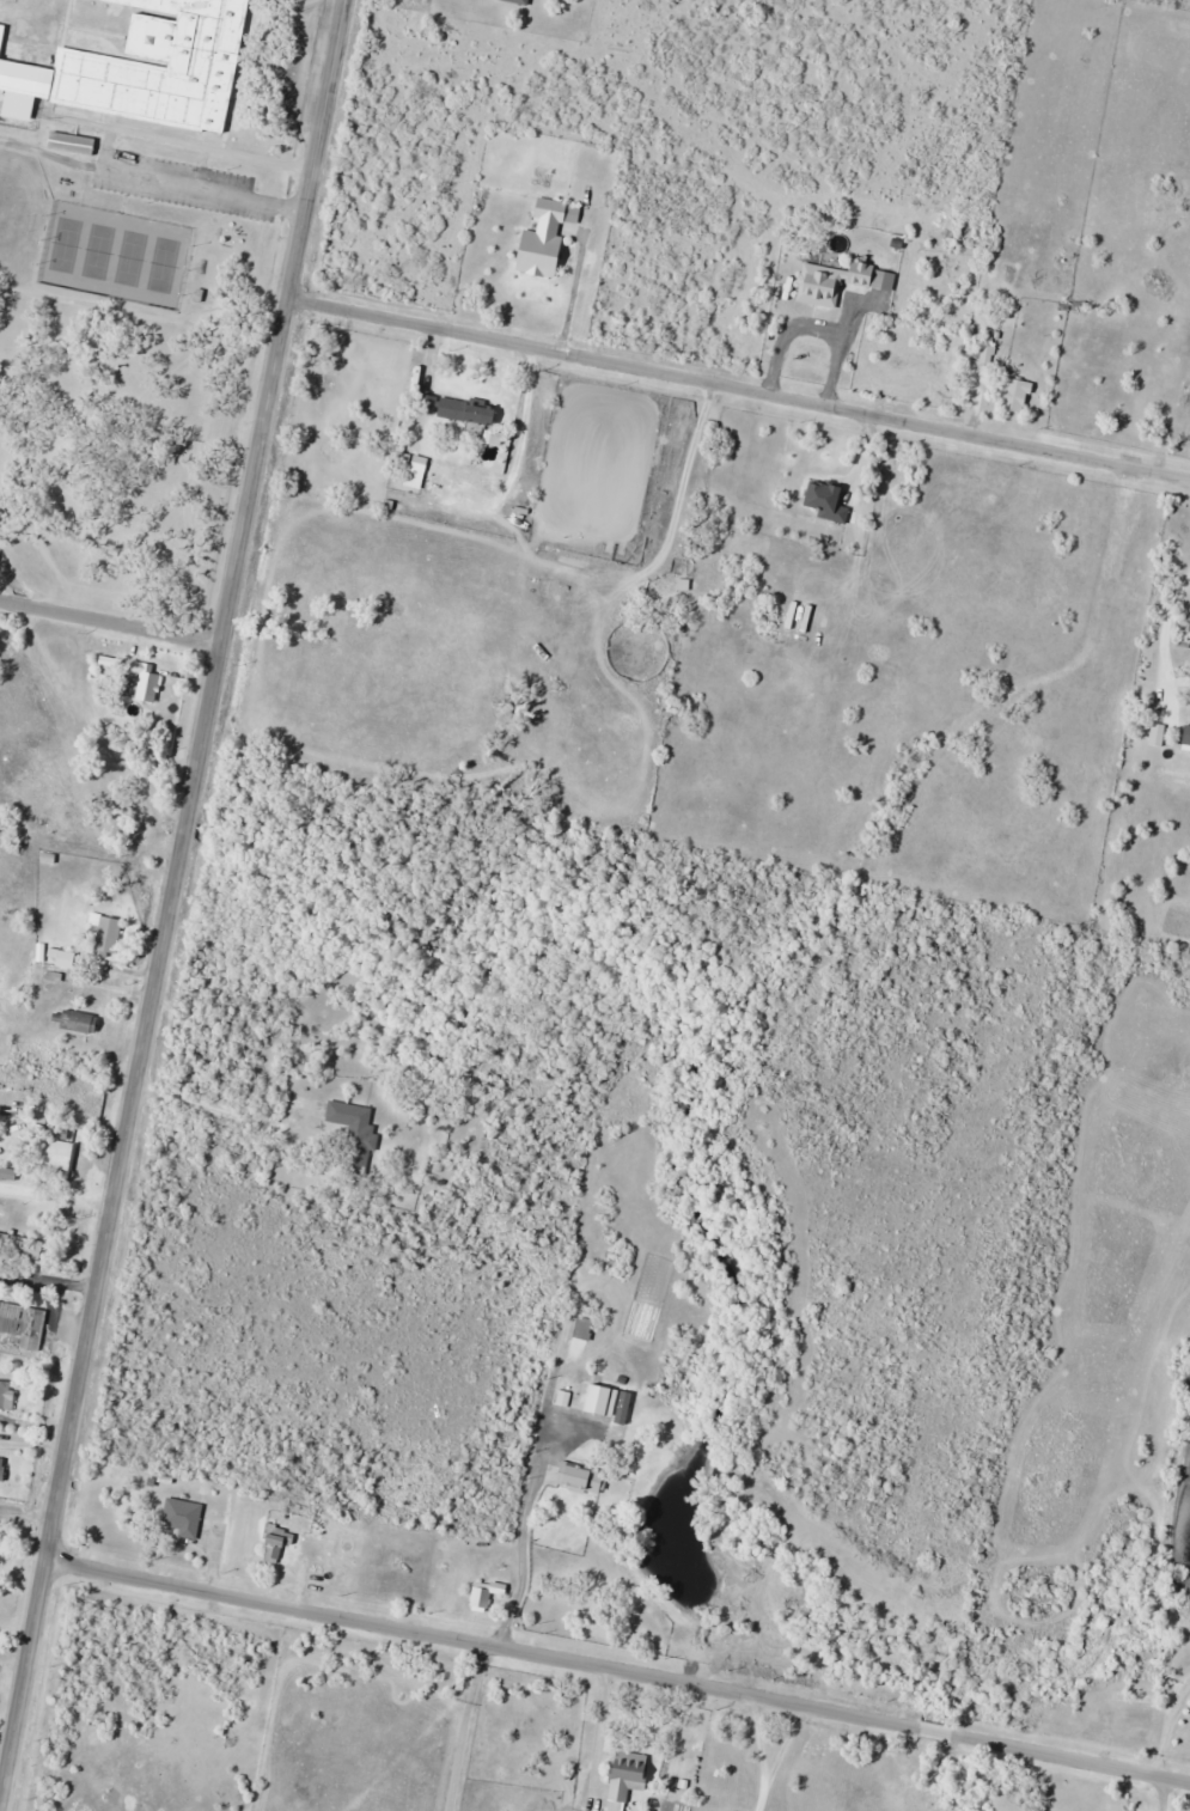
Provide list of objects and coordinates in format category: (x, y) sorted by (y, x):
building: (146, 67)
building: (548, 238)
park: (112, 254)
building: (820, 285)
road: (283, 318)
road: (739, 384)
building: (1018, 396)
building: (469, 410)
building: (830, 500)
road: (111, 618)
building: (148, 683)
building: (41, 809)
building: (106, 935)
building: (67, 958)
building: (81, 1023)
building: (354, 1124)
building: (55, 1148)
building: (8, 1173)
road: (111, 1220)
building: (5, 1394)
building: (597, 1402)
building: (2, 1468)
building: (586, 1480)
building: (184, 1517)
building: (279, 1543)
building: (487, 1594)
road: (618, 1675)
building: (628, 1778)
road: (1161, 1799)

